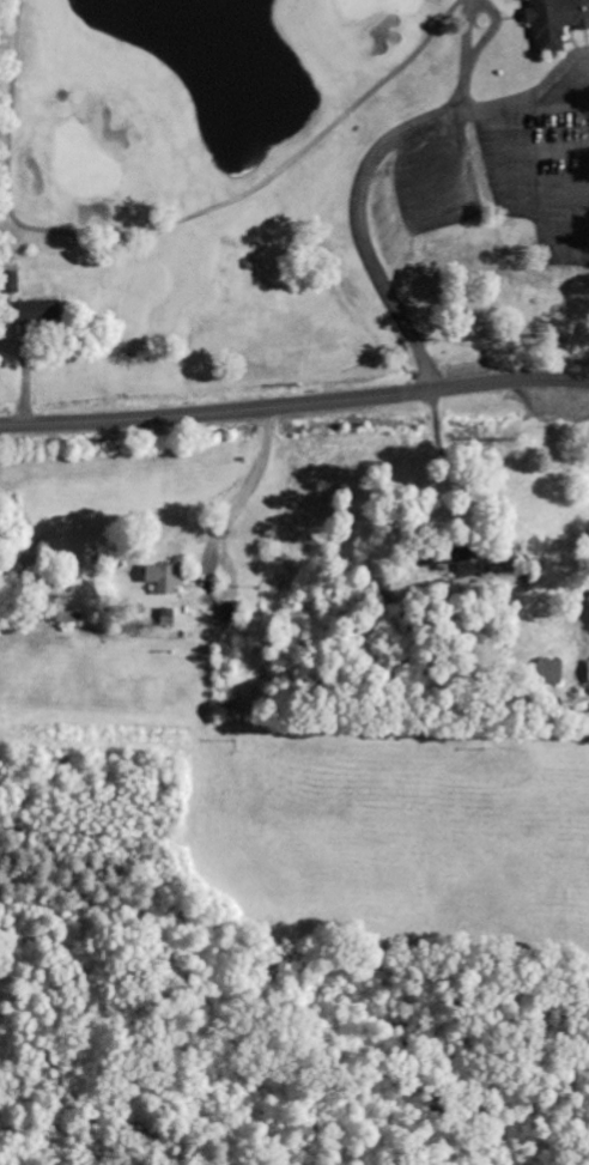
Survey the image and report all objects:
building: (558, 20)
building: (41, 313)
road: (294, 405)
building: (472, 566)
building: (166, 578)
building: (232, 612)
building: (553, 671)

